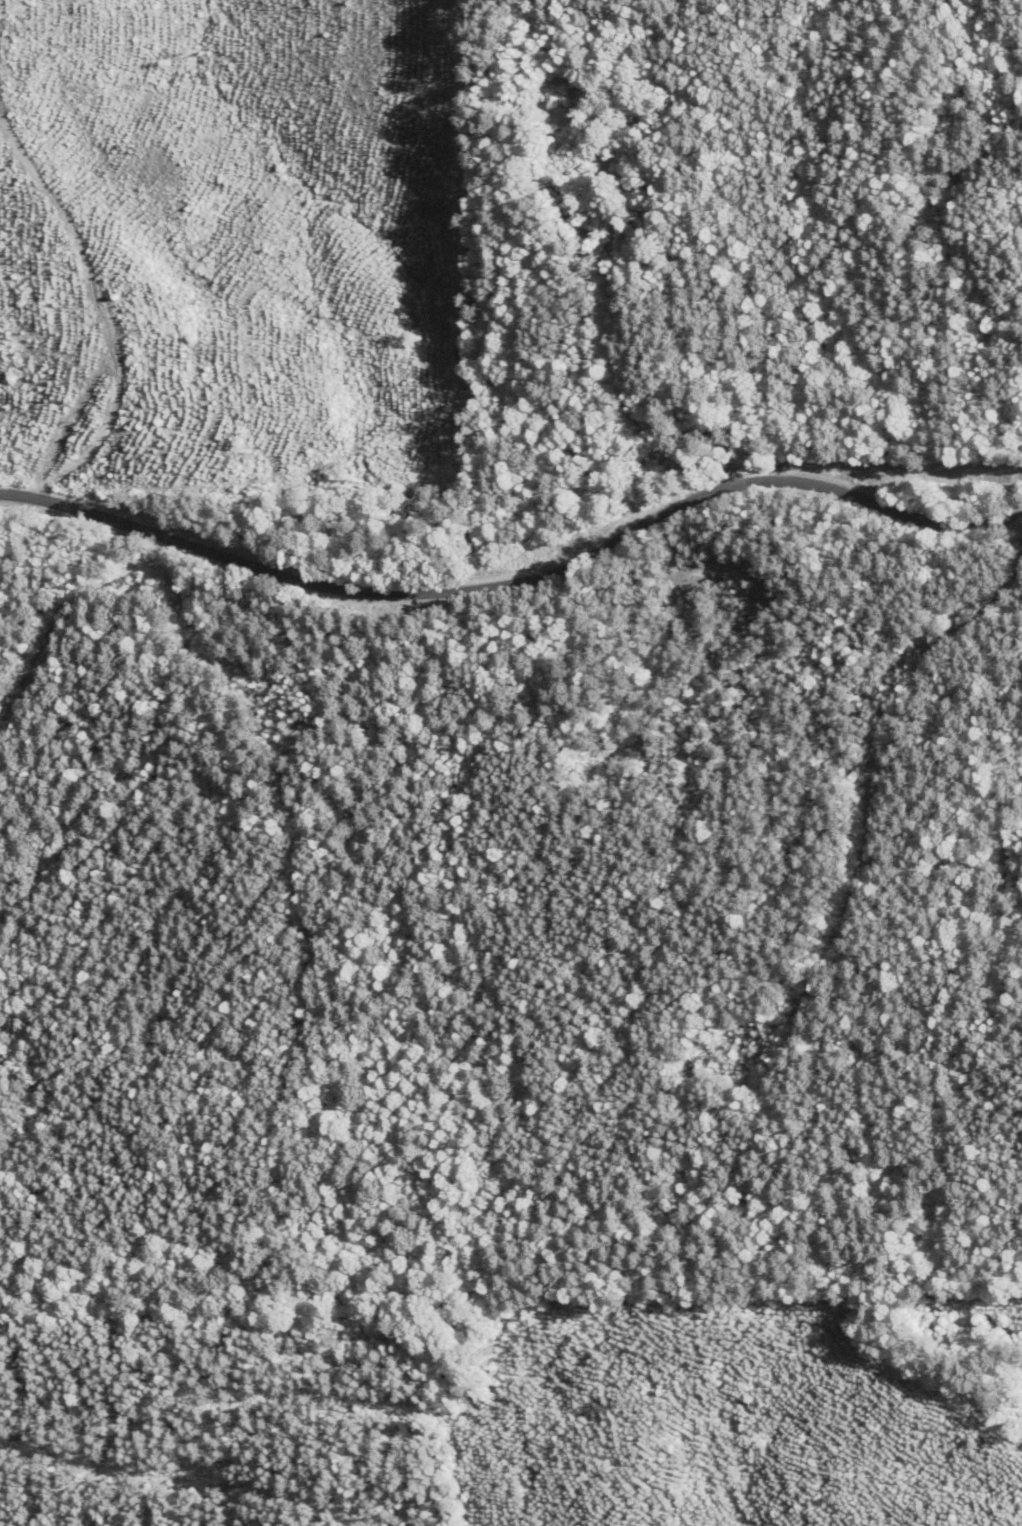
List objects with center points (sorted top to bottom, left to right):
road: (515, 599)

